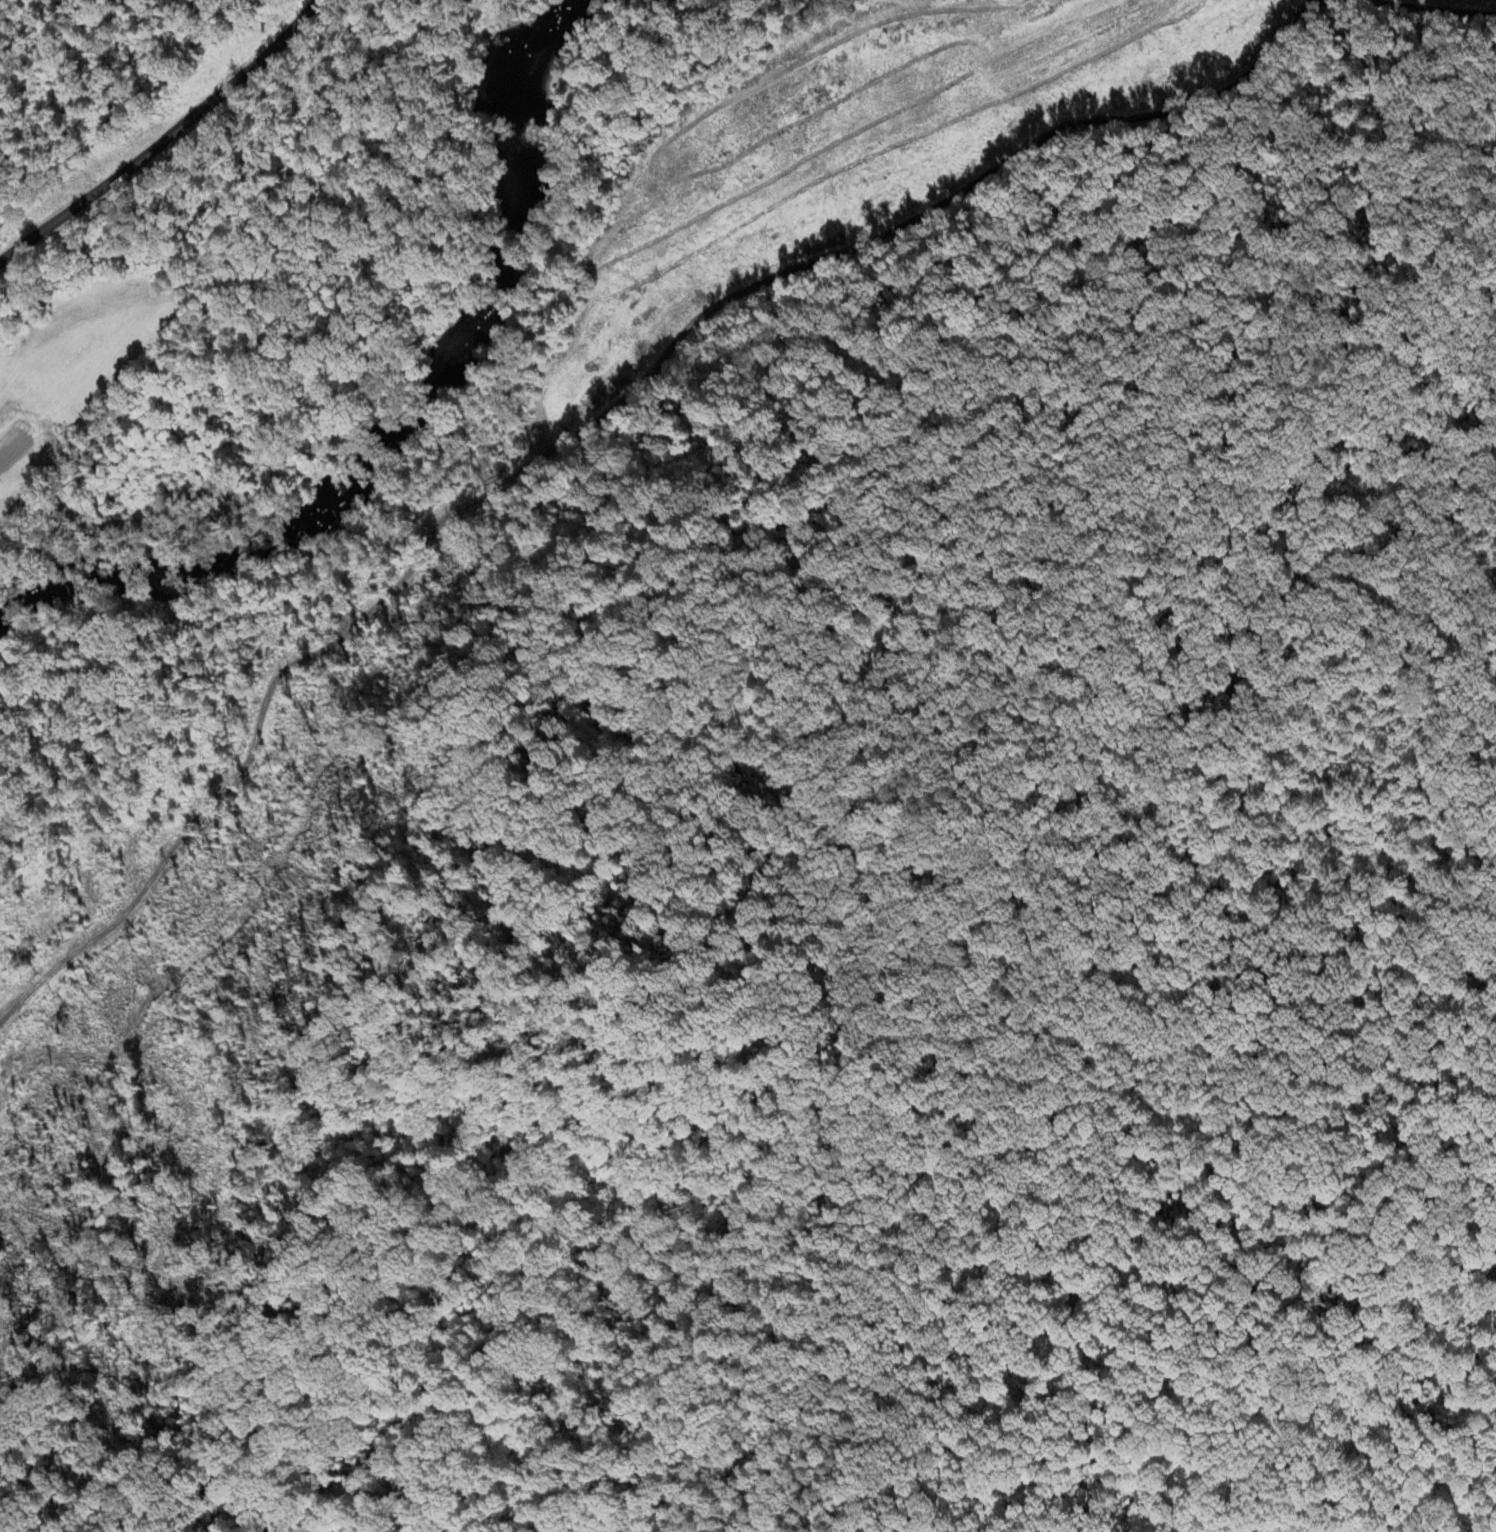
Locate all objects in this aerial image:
road: (1430, 5)
road: (165, 141)
river: (398, 382)
road: (590, 420)

